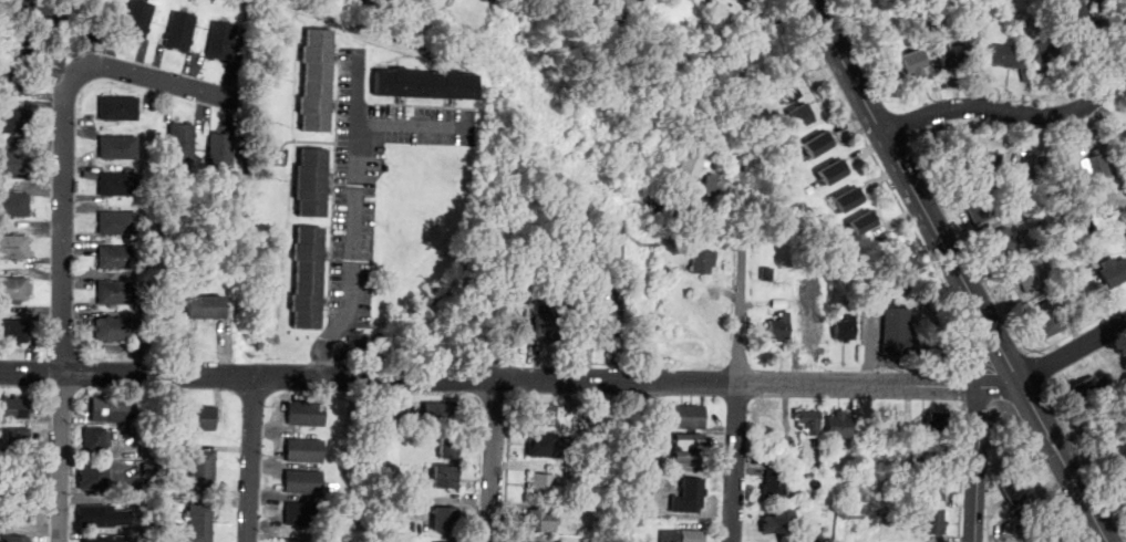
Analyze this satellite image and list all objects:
building: (378, 3)
building: (352, 9)
building: (1075, 12)
building: (42, 14)
building: (141, 21)
building: (180, 33)
building: (224, 42)
building: (954, 56)
building: (1047, 56)
building: (1008, 58)
building: (913, 63)
road: (163, 80)
building: (319, 82)
building: (427, 85)
building: (16, 86)
building: (786, 91)
building: (121, 111)
road: (871, 112)
road: (1013, 112)
building: (800, 116)
building: (16, 124)
road: (412, 124)
building: (1120, 142)
building: (184, 145)
building: (816, 145)
building: (121, 152)
building: (224, 155)
building: (982, 160)
building: (16, 166)
building: (1052, 167)
building: (1095, 167)
building: (689, 170)
building: (831, 171)
parking lot: (373, 177)
road: (886, 177)
building: (313, 184)
building: (713, 185)
building: (121, 187)
building: (846, 199)
building: (1016, 207)
building: (16, 208)
building: (978, 209)
road: (690, 217)
road: (355, 218)
building: (861, 222)
building: (121, 226)
building: (1085, 226)
building: (1002, 244)
building: (1065, 244)
power tower: (643, 248)
building: (16, 250)
building: (120, 260)
road: (953, 260)
building: (703, 263)
building: (1115, 272)
building: (769, 275)
building: (1086, 277)
building: (309, 279)
building: (1027, 279)
building: (853, 281)
building: (14, 292)
building: (120, 295)
road: (60, 302)
building: (785, 305)
road: (741, 310)
building: (208, 311)
building: (641, 315)
road: (1005, 317)
building: (1047, 319)
building: (608, 323)
building: (555, 326)
building: (813, 326)
building: (781, 330)
building: (845, 330)
building: (118, 333)
building: (14, 334)
building: (899, 334)
road: (975, 342)
road: (1031, 363)
road: (1055, 363)
road: (490, 377)
road: (964, 386)
building: (1088, 388)
road: (496, 397)
building: (17, 409)
building: (107, 413)
building: (307, 415)
building: (442, 415)
building: (544, 415)
building: (196, 418)
building: (686, 418)
road: (1041, 419)
building: (596, 421)
building: (808, 421)
building: (939, 425)
building: (840, 426)
building: (19, 437)
building: (92, 440)
building: (588, 440)
building: (448, 446)
building: (545, 446)
building: (816, 447)
building: (691, 449)
building: (306, 451)
building: (1117, 451)
building: (926, 457)
road: (251, 458)
road: (494, 460)
road: (734, 462)
road: (978, 465)
road: (507, 468)
road: (479, 470)
building: (202, 471)
building: (585, 473)
building: (651, 476)
road: (960, 476)
road: (1091, 476)
building: (1123, 478)
building: (16, 479)
building: (91, 479)
building: (443, 479)
building: (304, 483)
building: (543, 487)
building: (773, 487)
building: (936, 490)
road: (989, 493)
building: (693, 494)
building: (1020, 507)
building: (19, 511)
building: (304, 515)
power tower: (848, 517)
building: (97, 518)
building: (443, 521)
building: (540, 521)
building: (199, 523)
building: (931, 524)
building: (776, 527)
building: (683, 536)
building: (17, 539)
building: (101, 540)
building: (291, 541)
building: (1045, 541)
building: (1050, 541)

